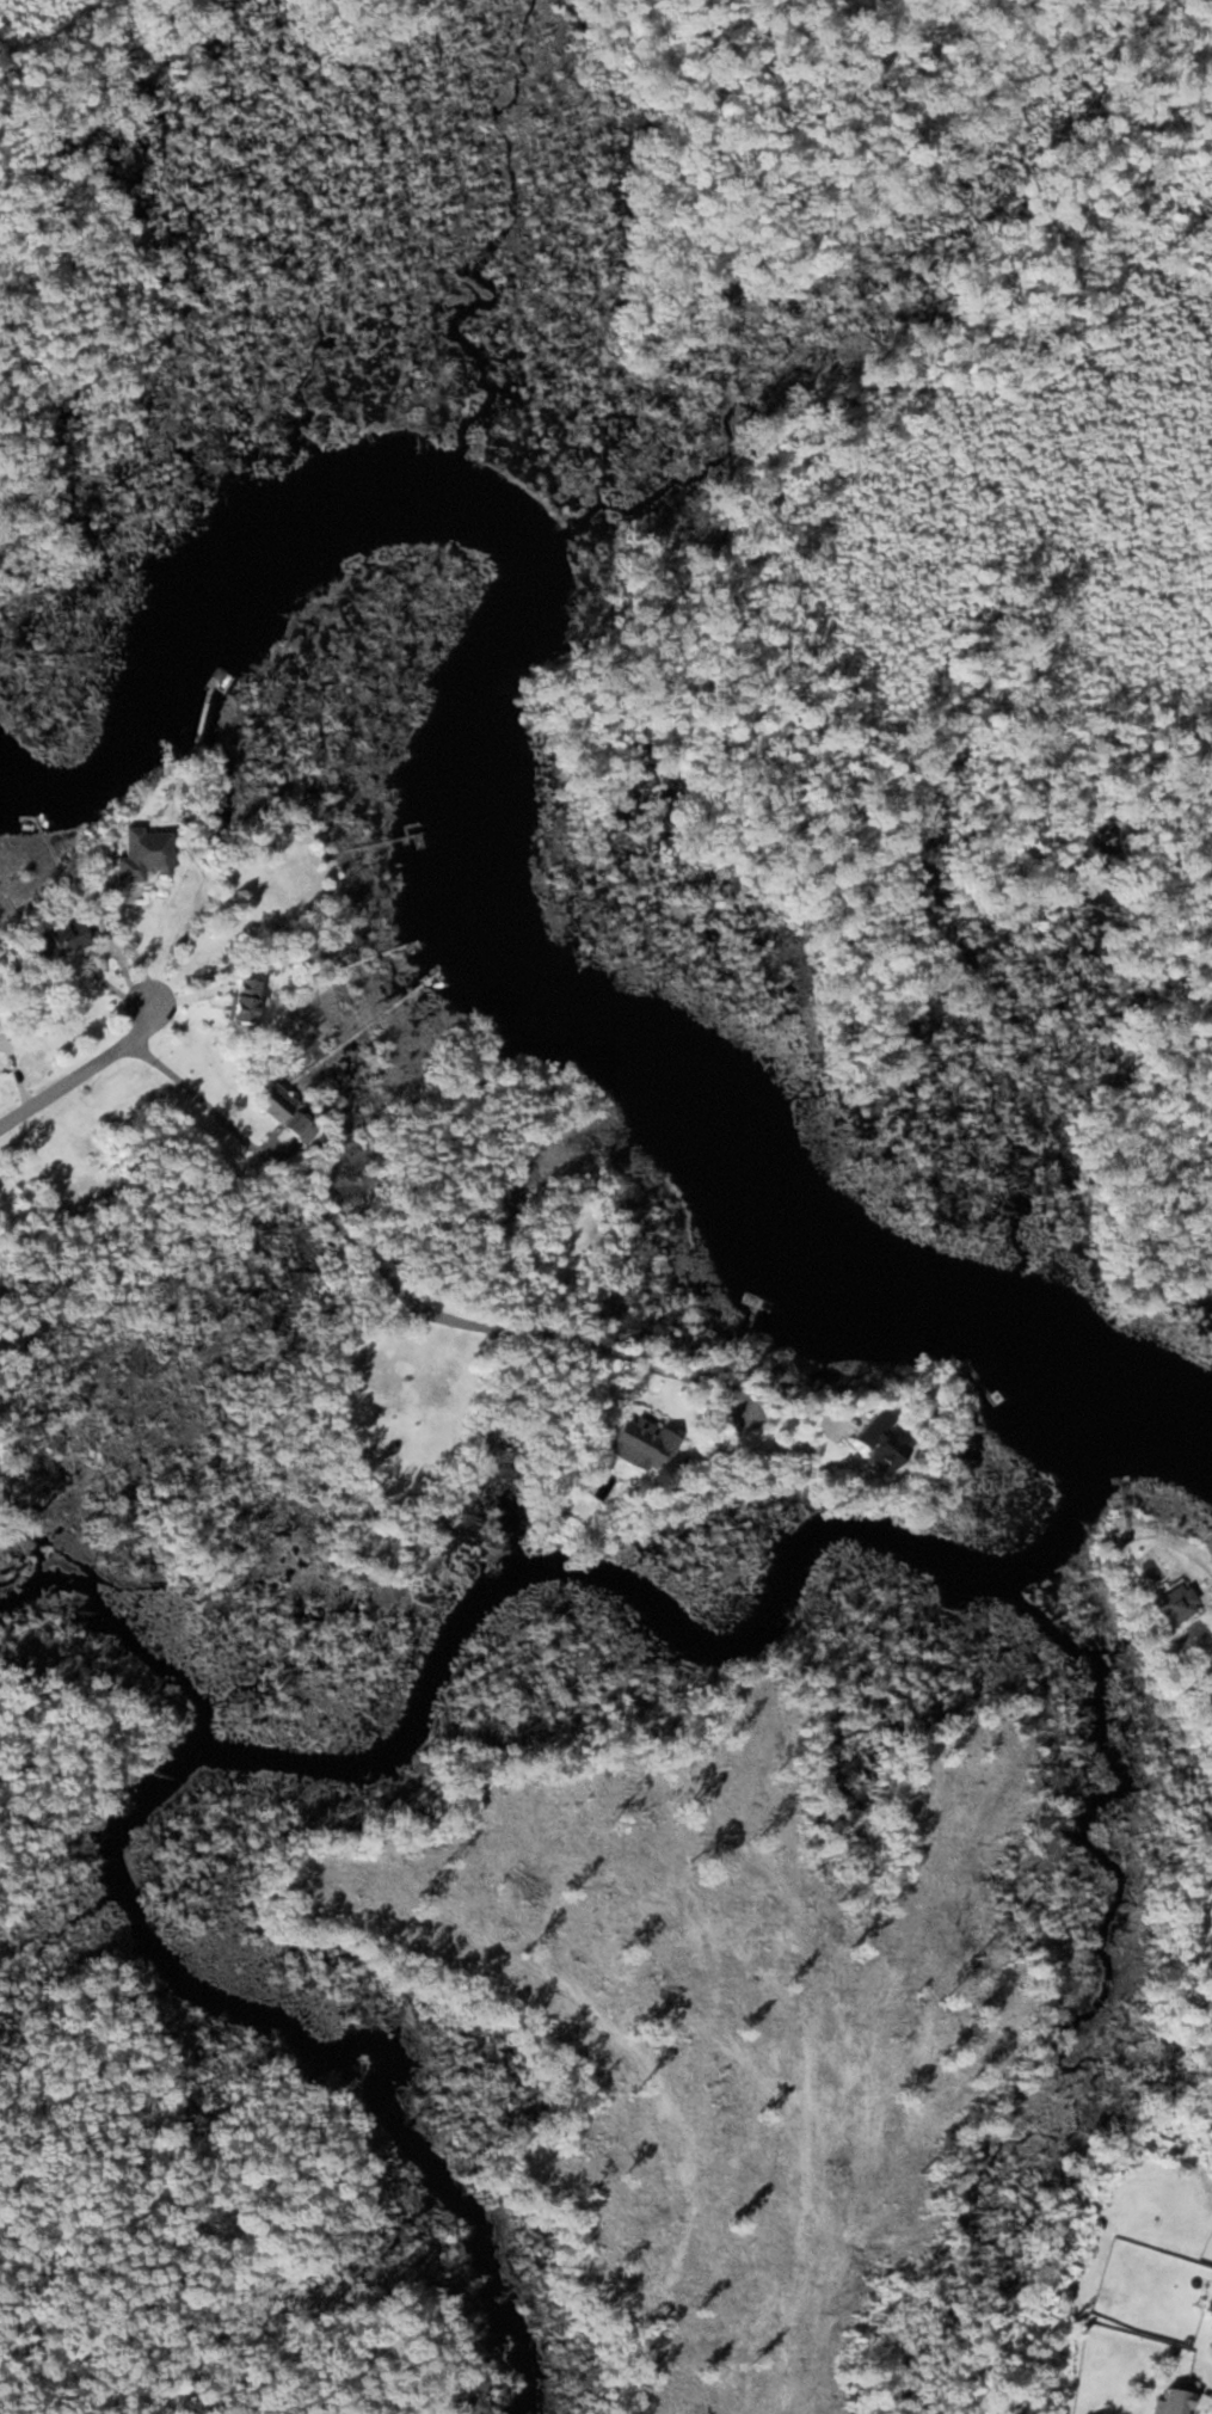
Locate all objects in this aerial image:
building: (143, 854)
building: (63, 940)
building: (245, 1001)
road: (82, 1071)
building: (276, 1104)
building: (301, 1128)
road: (398, 1302)
building: (880, 1442)
building: (642, 1444)
building: (1176, 1604)
building: (1200, 2292)
building: (1161, 2396)

